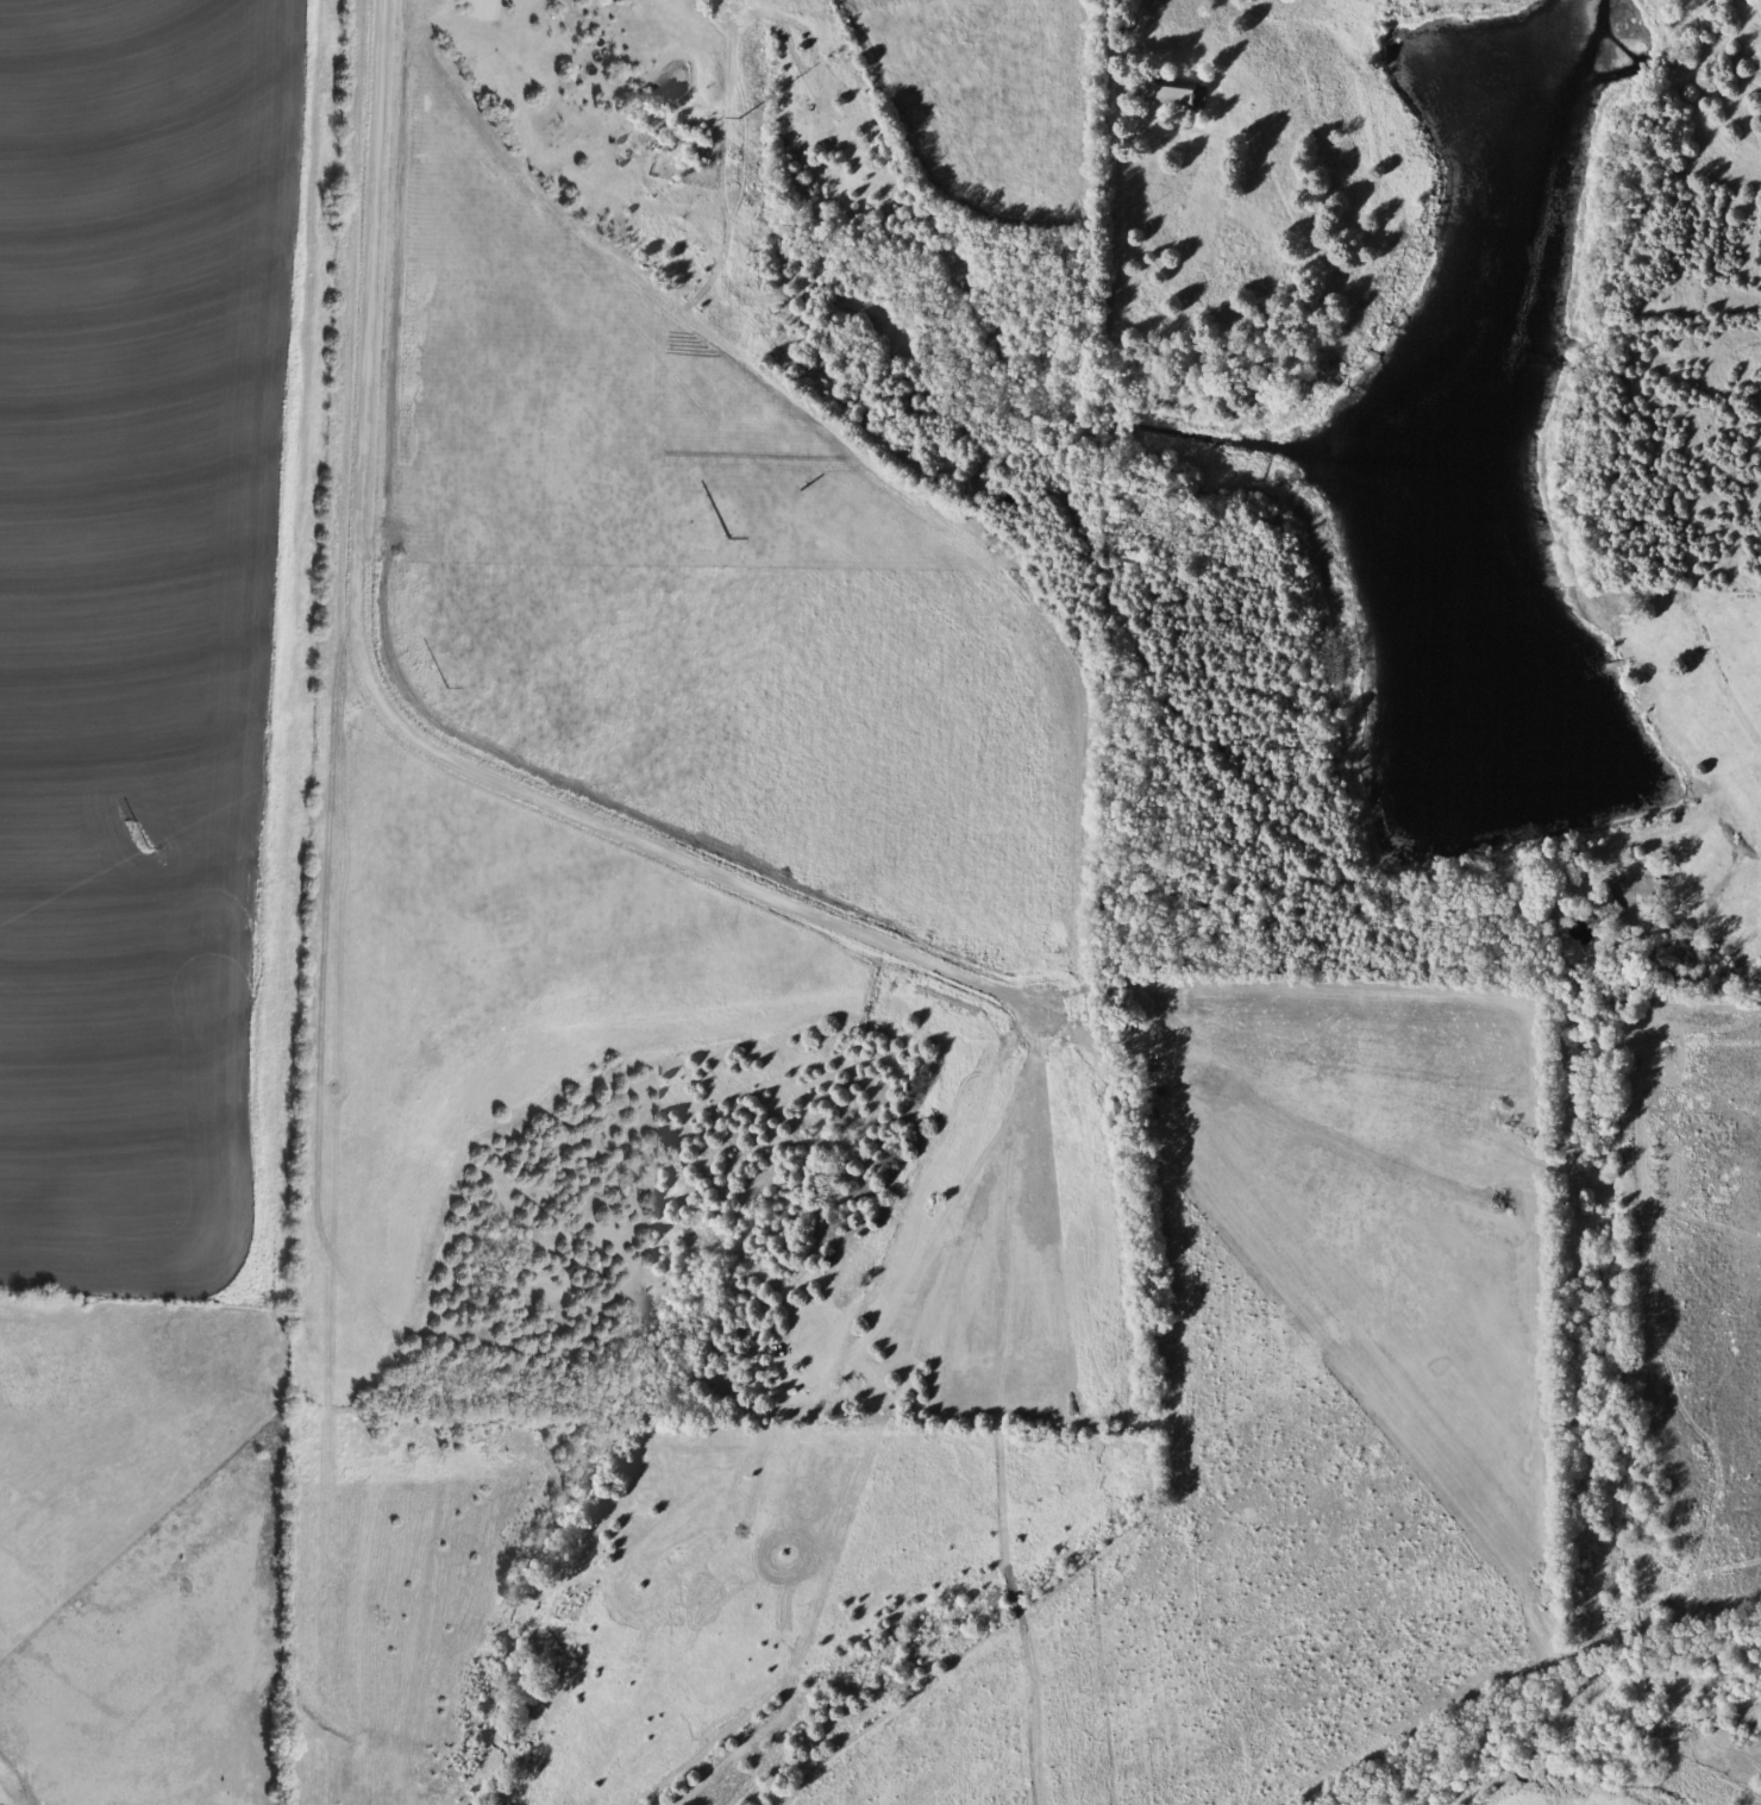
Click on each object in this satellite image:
road: (1113, 45)
building: (1155, 92)
power tower: (715, 120)
power tower: (710, 533)
power tower: (431, 677)
road: (394, 716)
power tower: (131, 835)

